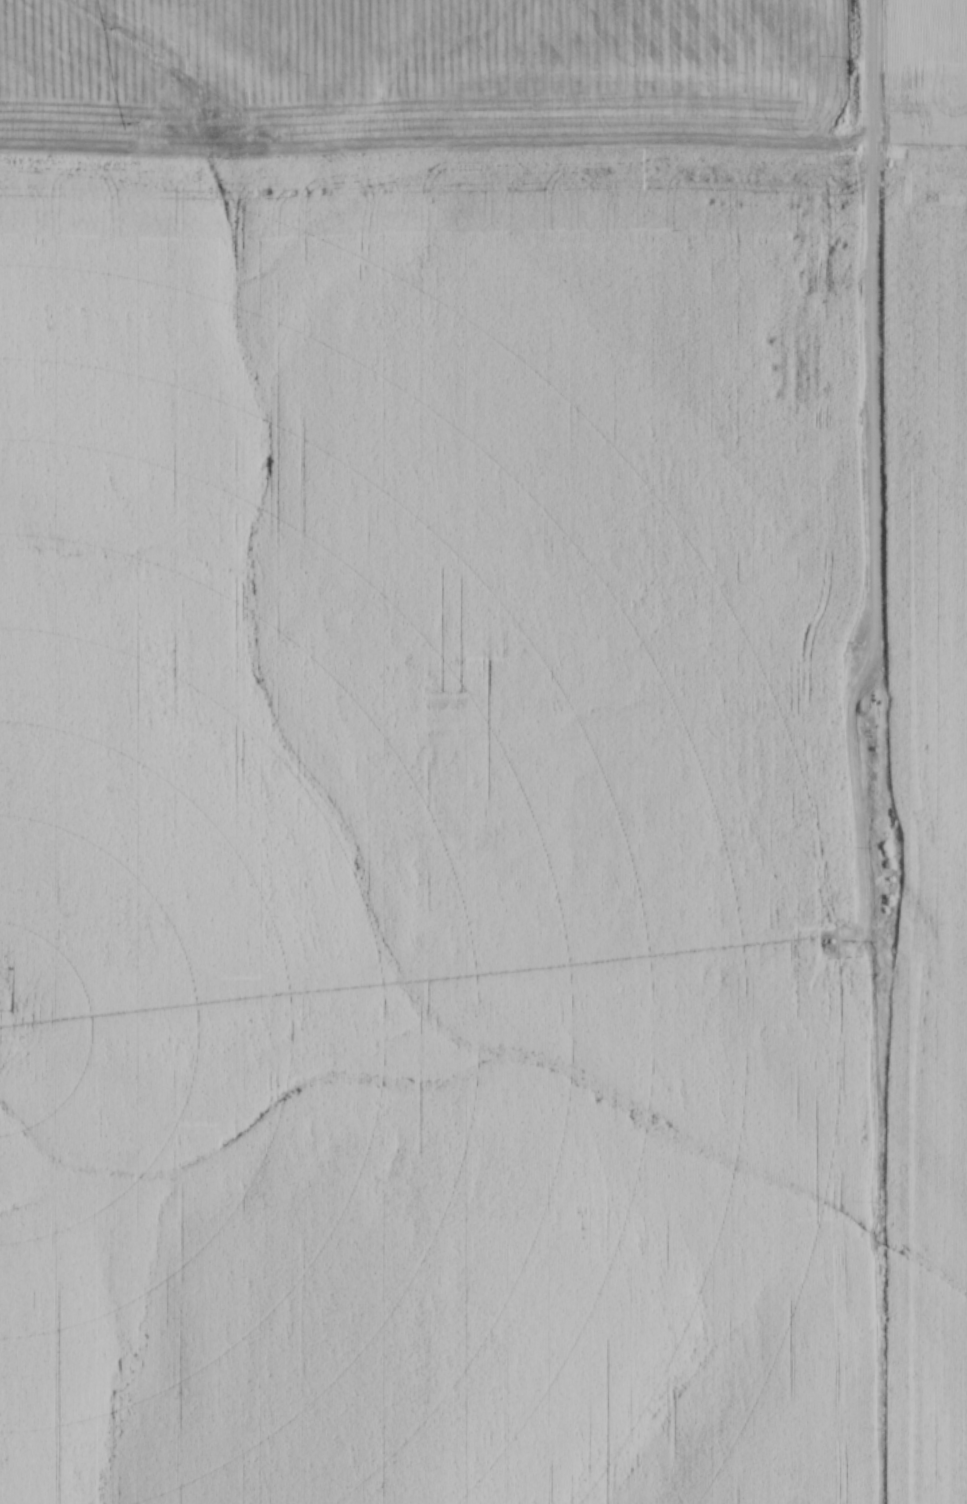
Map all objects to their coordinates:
road: (867, 348)

